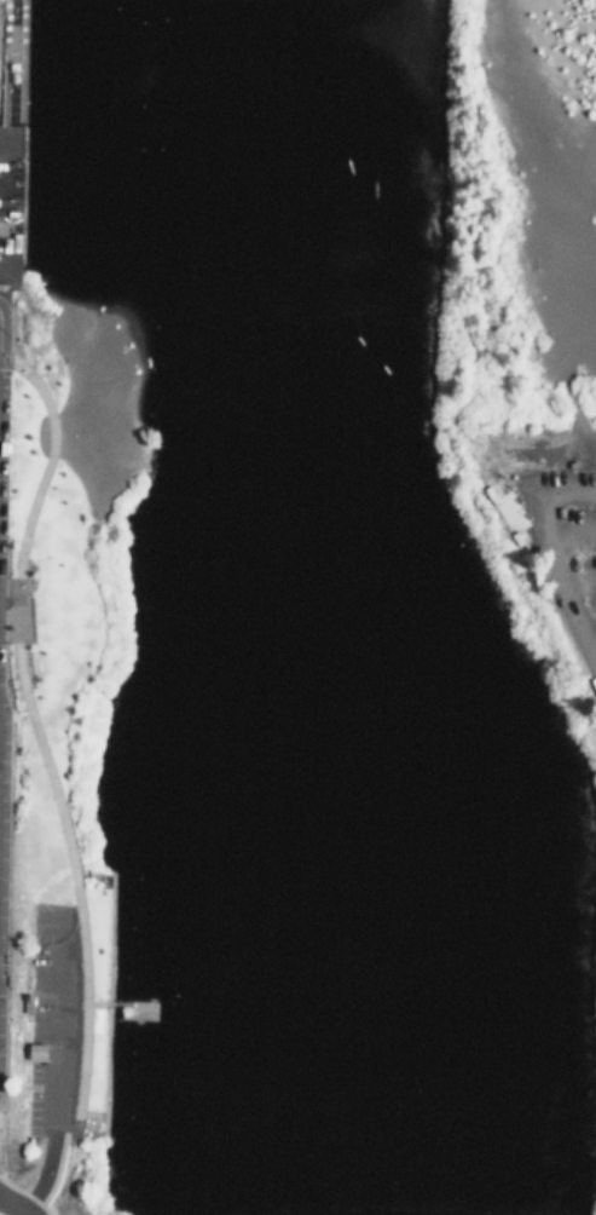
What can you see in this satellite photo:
road: (22, 73)
park: (10, 138)
road: (0, 336)
park: (510, 427)
road: (46, 447)
parking lot: (552, 524)
road: (566, 530)
road: (542, 540)
road: (578, 581)
road: (17, 597)
road: (588, 626)
park: (54, 735)
road: (74, 922)
road: (91, 1006)
road: (127, 1006)
parking lot: (44, 1025)
road: (48, 1065)
park: (594, 1165)
park: (77, 1196)
road: (11, 1208)

